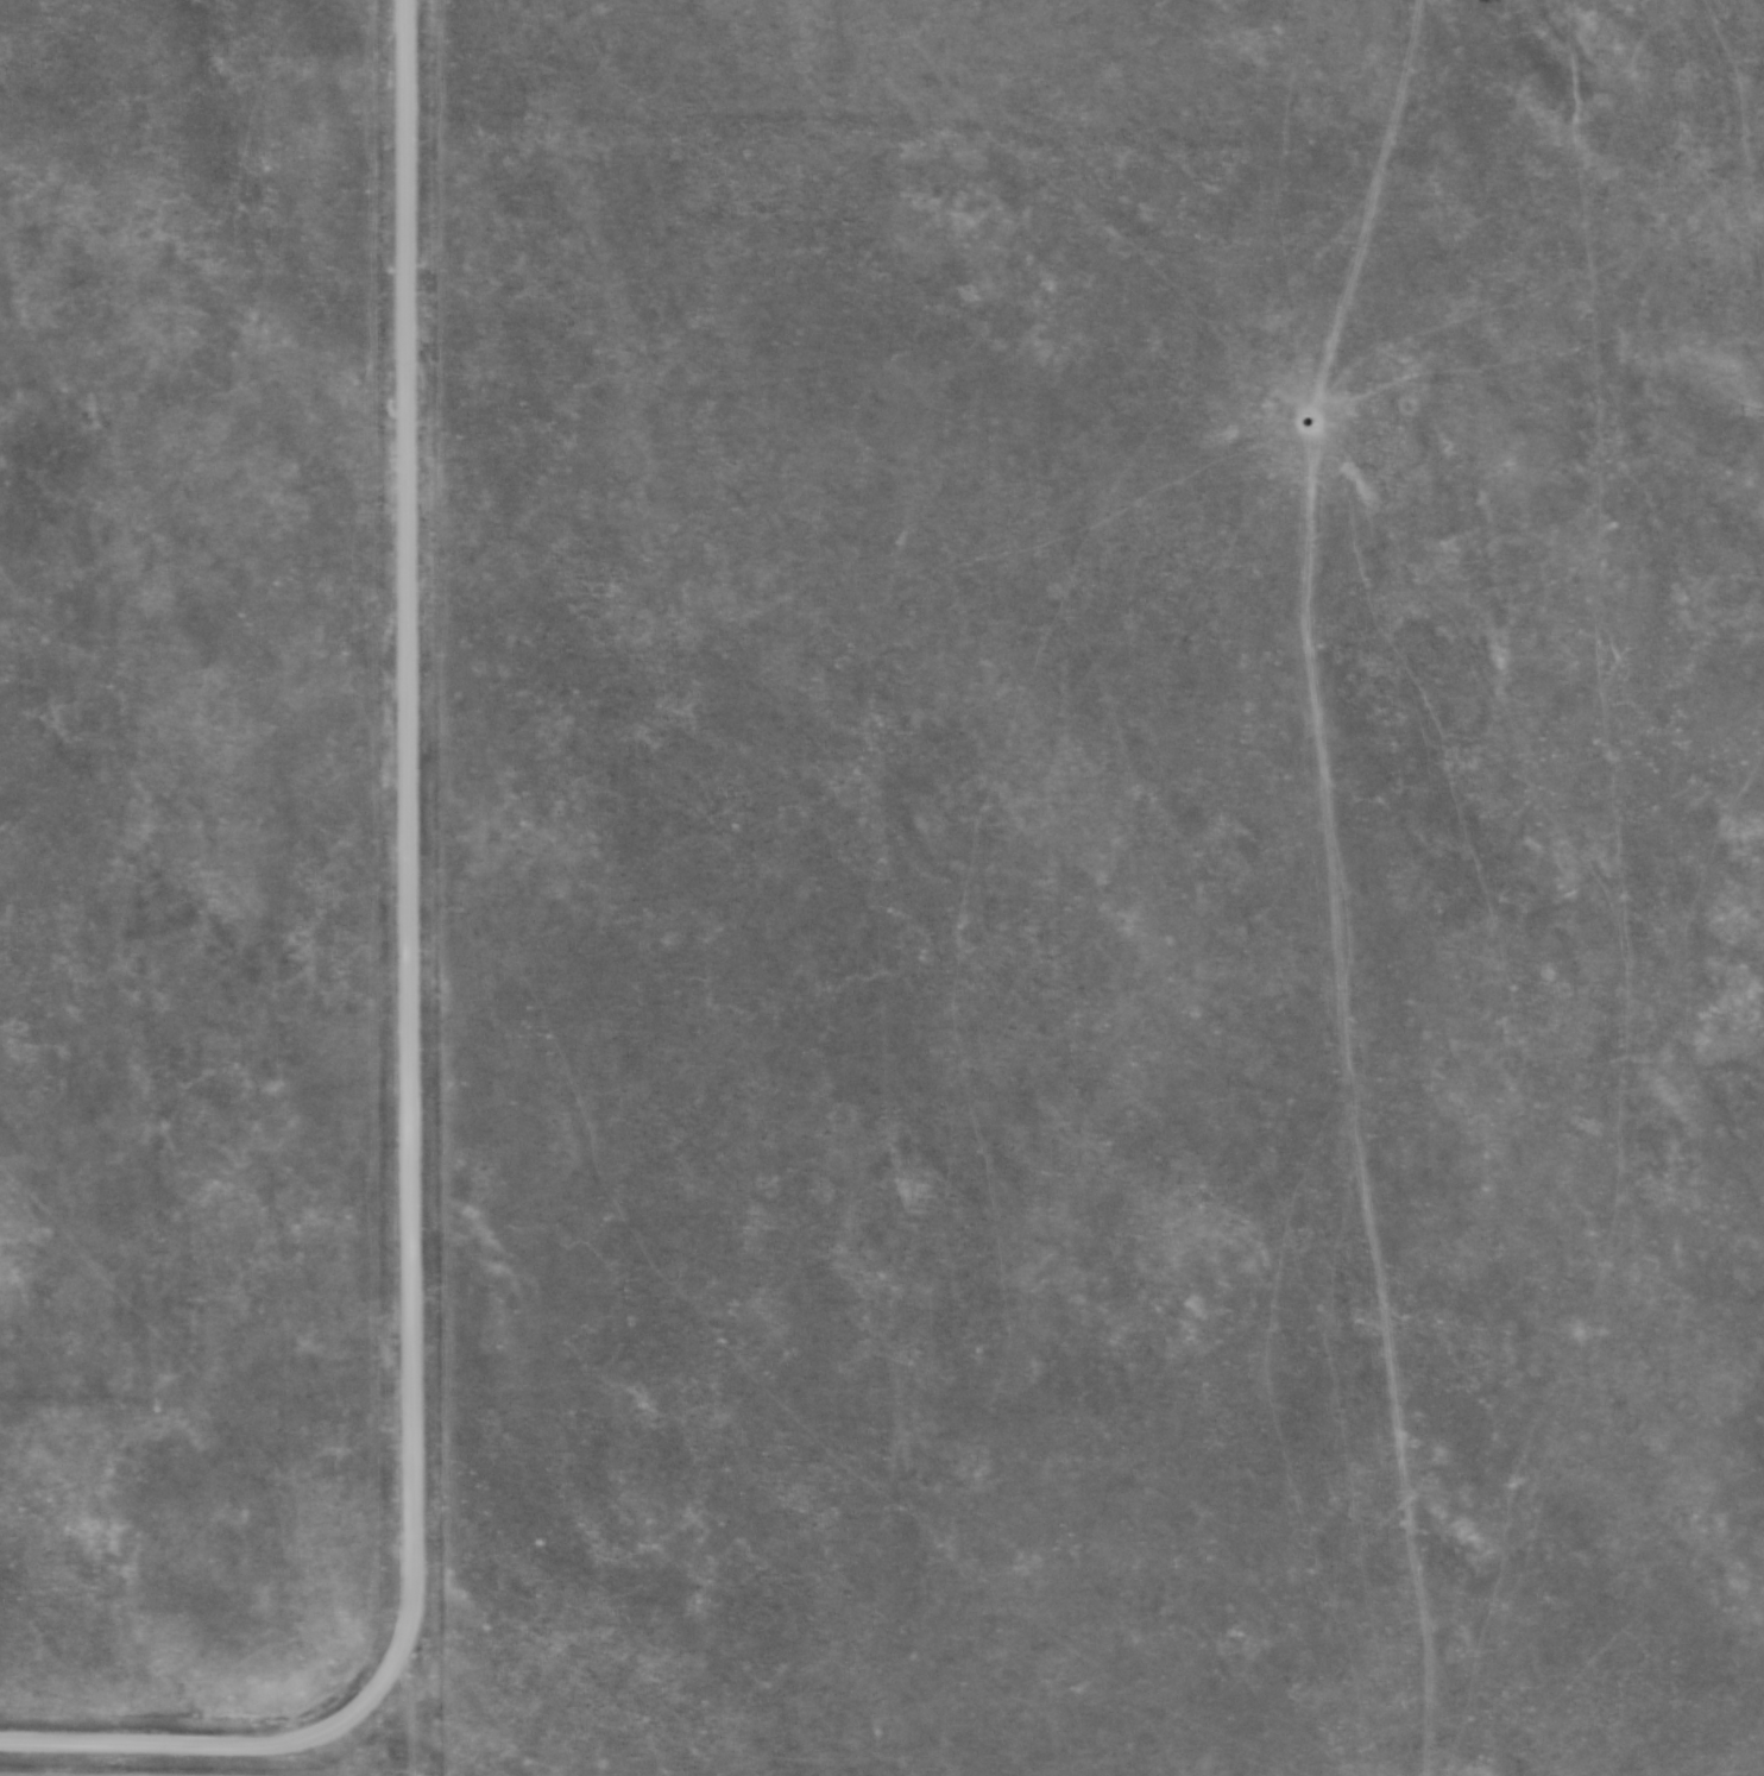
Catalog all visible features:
road: (411, 864)
road: (182, 1745)

